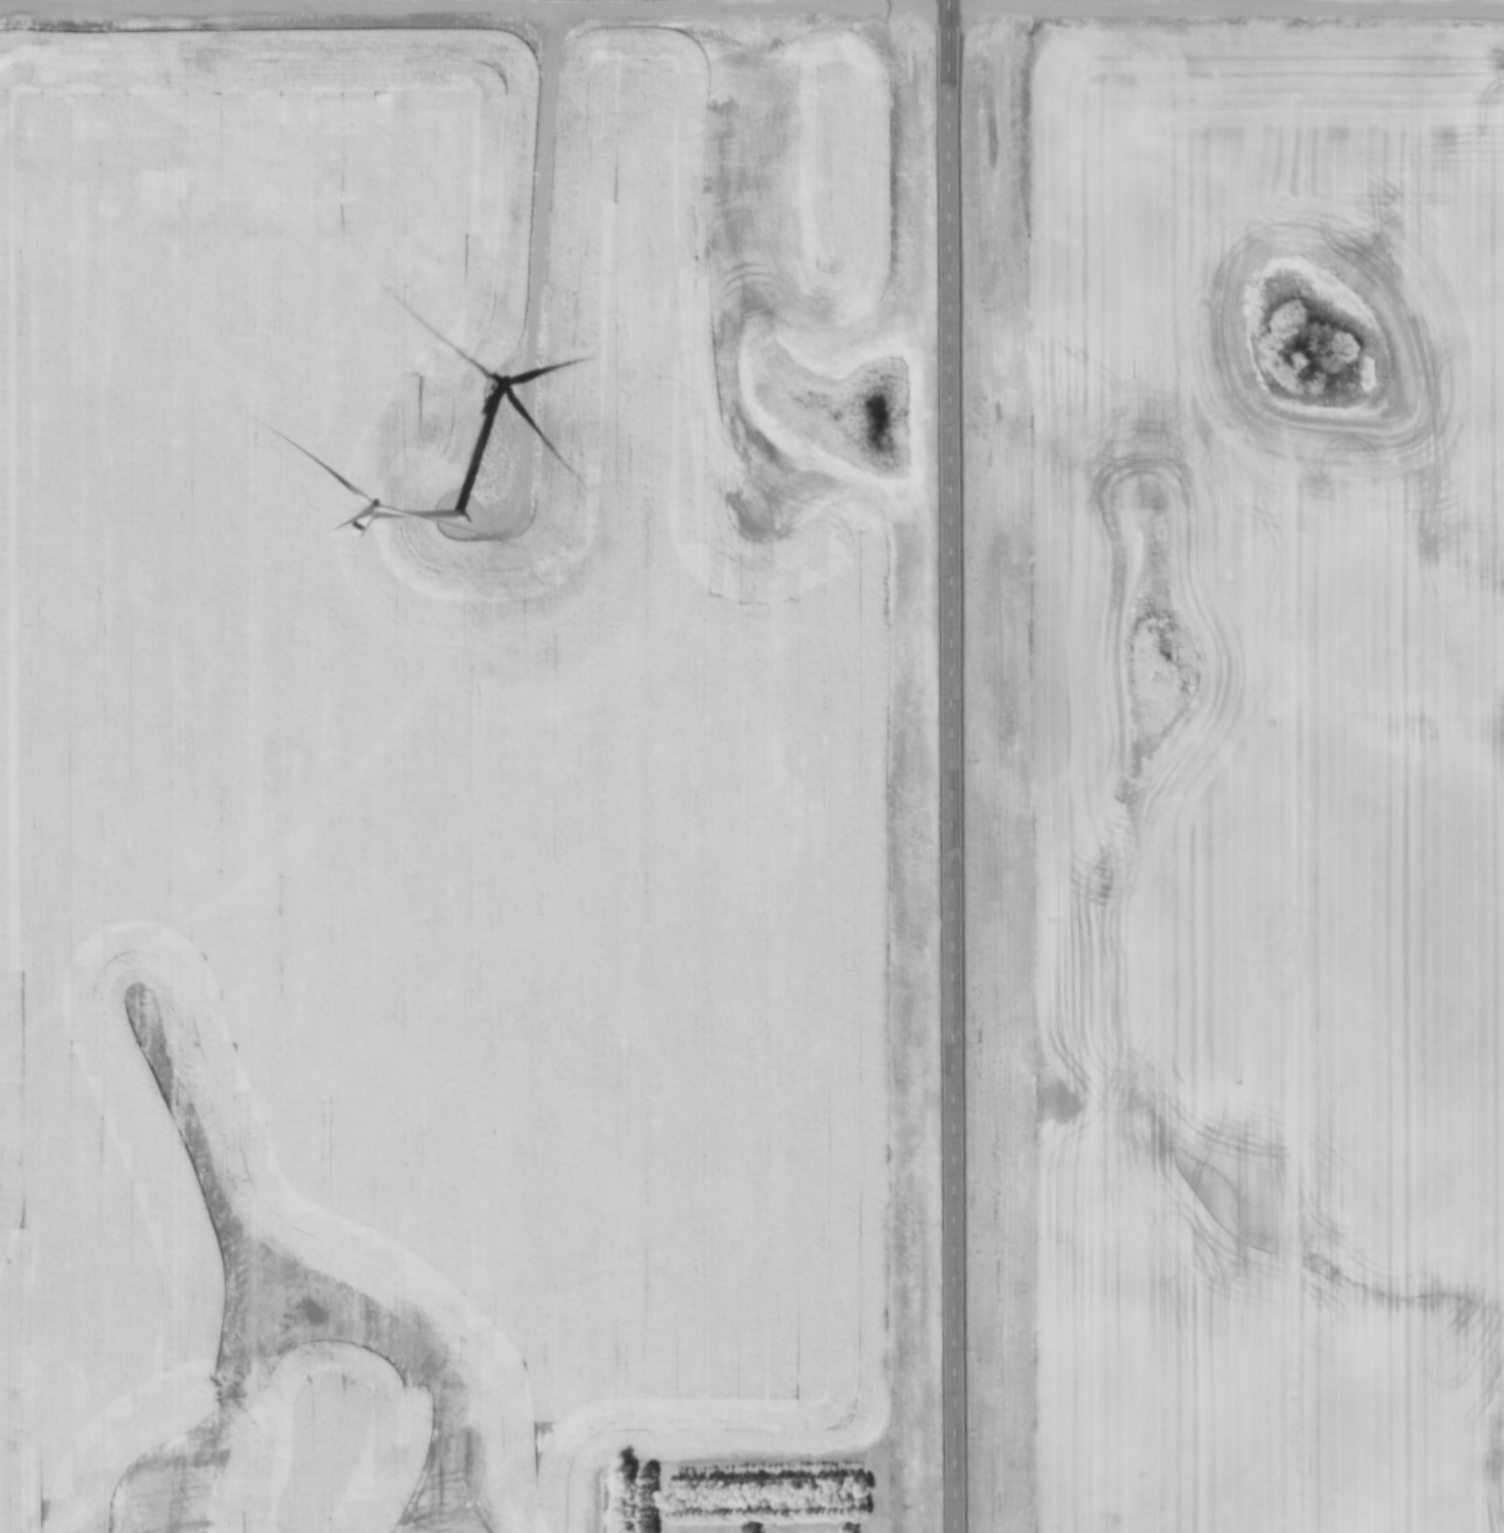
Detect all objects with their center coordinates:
road: (1249, 3)
road: (1228, 7)
road: (476, 14)
road: (535, 253)
wind turbine: (445, 513)
road: (957, 766)
building: (750, 1527)
silo: (750, 1527)

